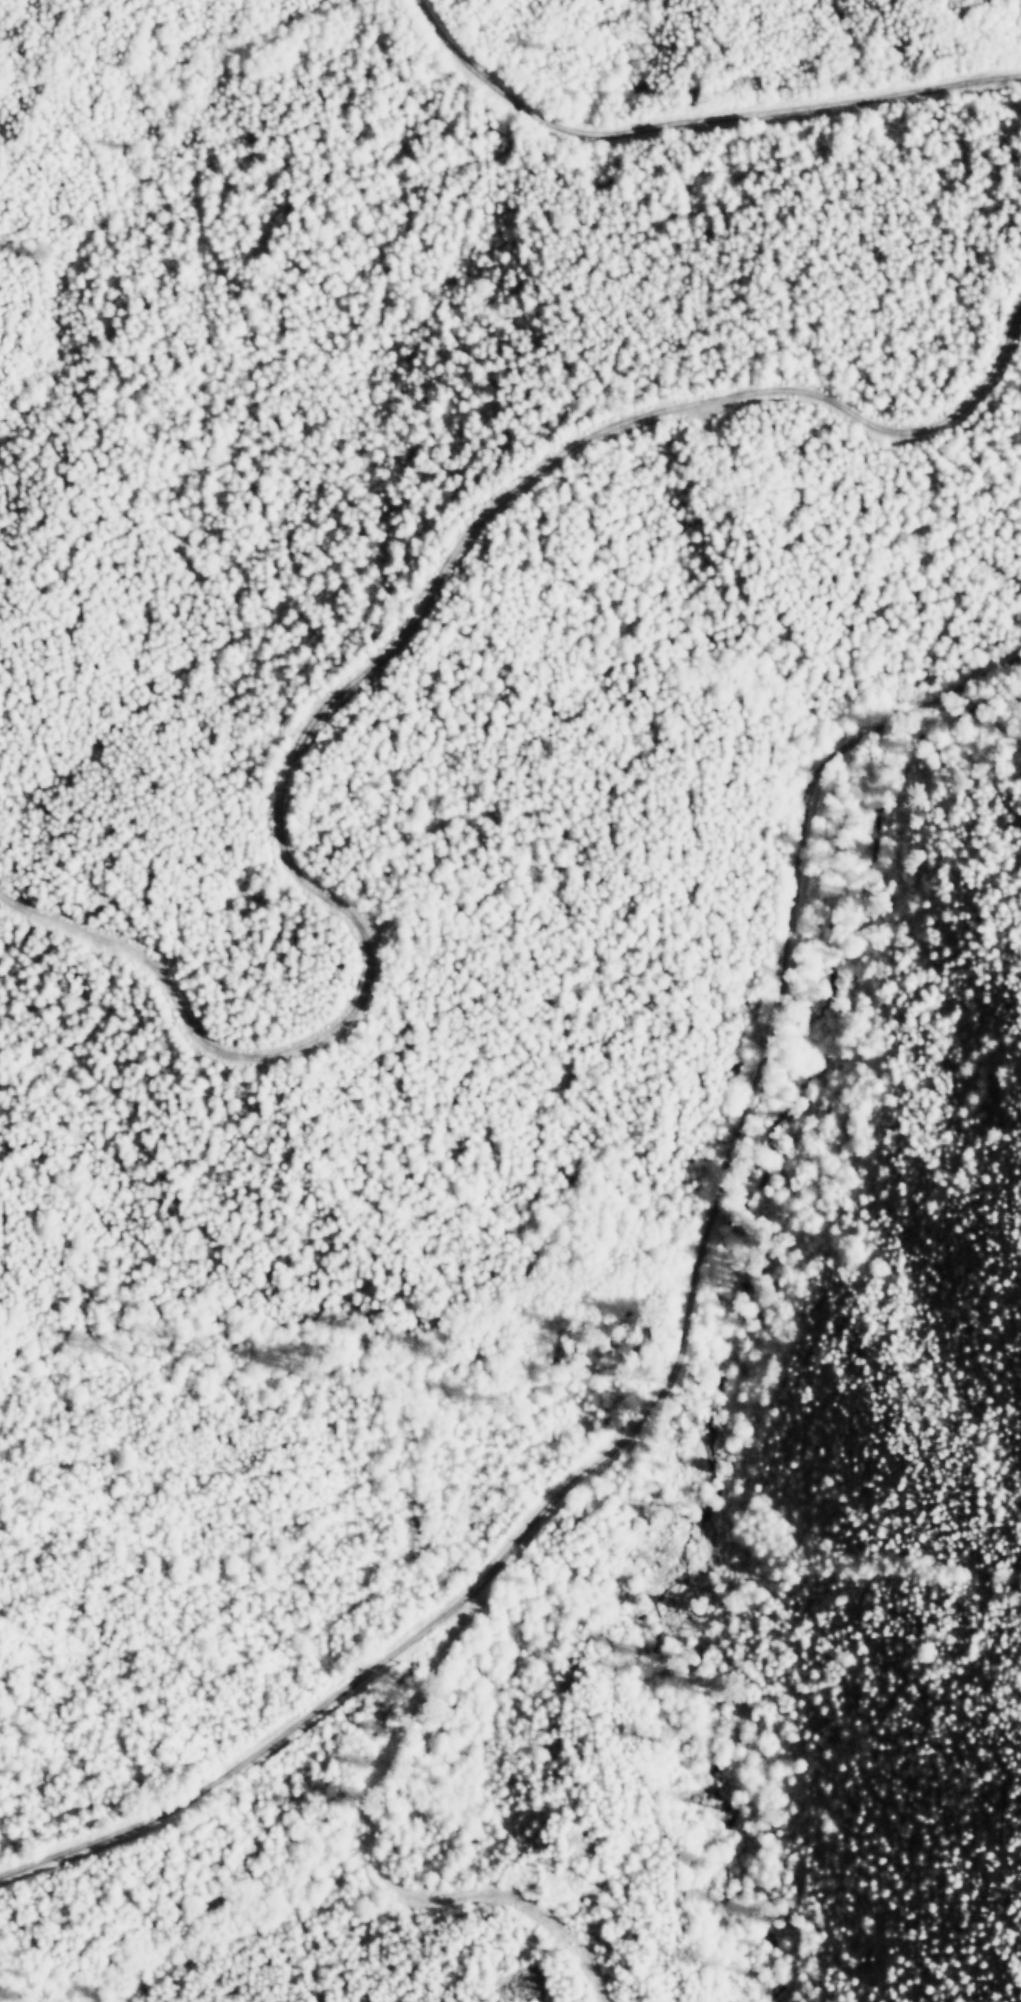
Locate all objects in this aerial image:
road: (692, 119)
road: (365, 670)
road: (743, 1111)
road: (243, 1762)
road: (371, 1871)

